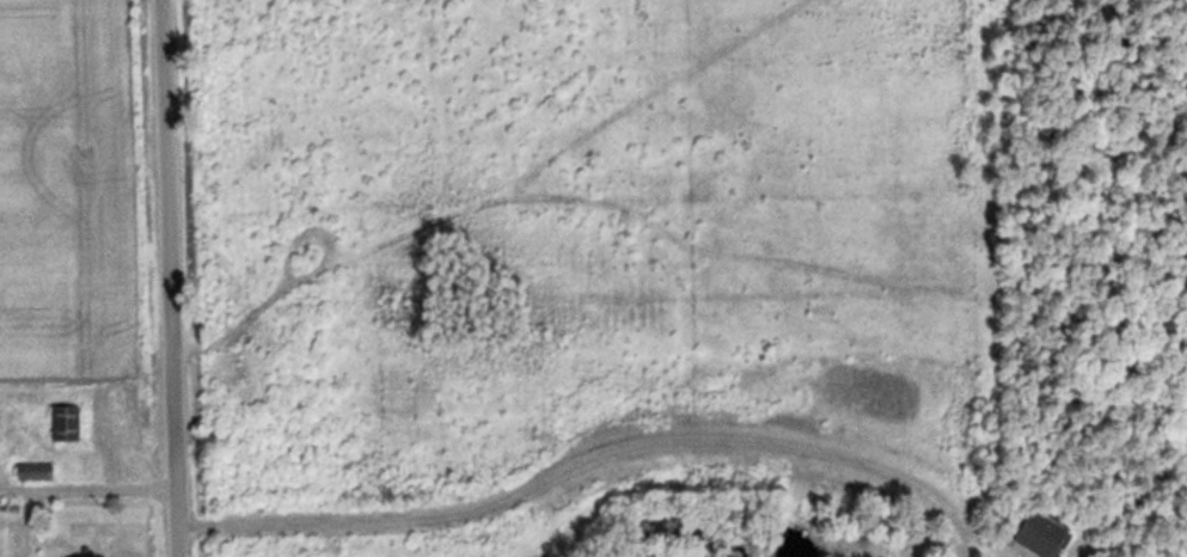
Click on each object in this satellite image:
road: (160, 278)
building: (69, 424)
building: (37, 473)
building: (1046, 535)

